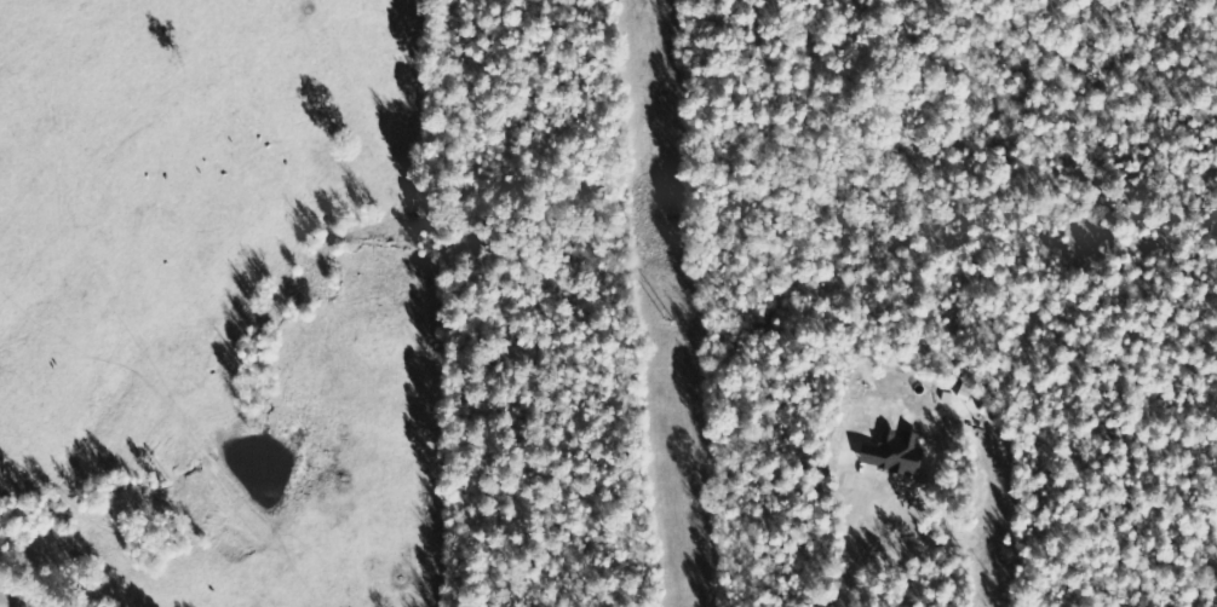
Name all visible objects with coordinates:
road: (25, 594)

